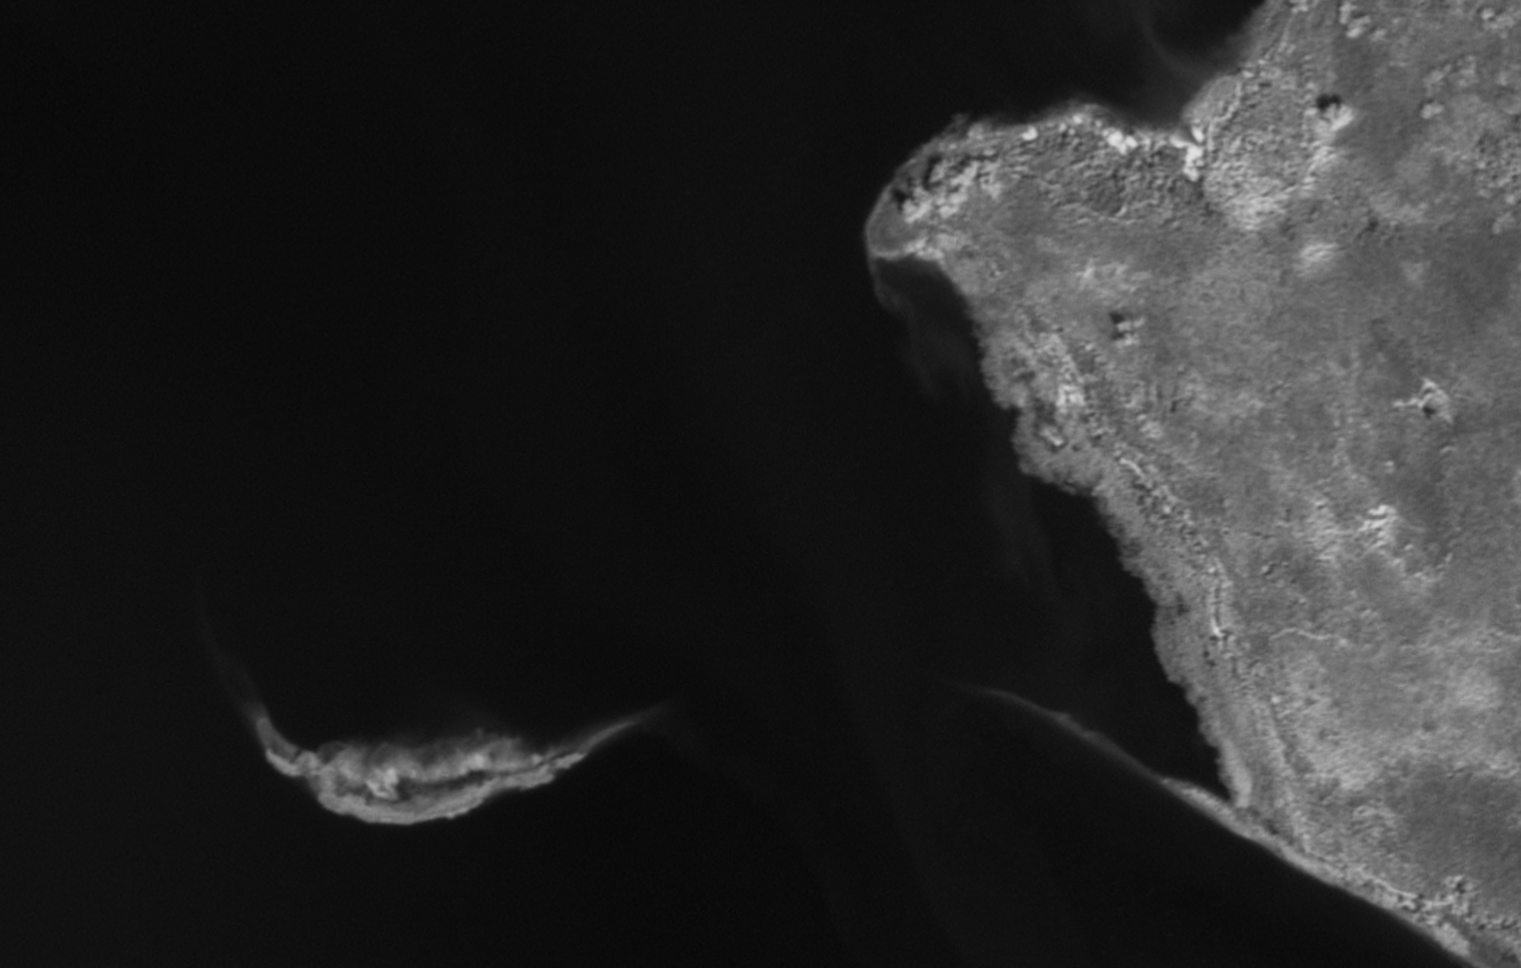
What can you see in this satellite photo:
park: (1236, 173)

